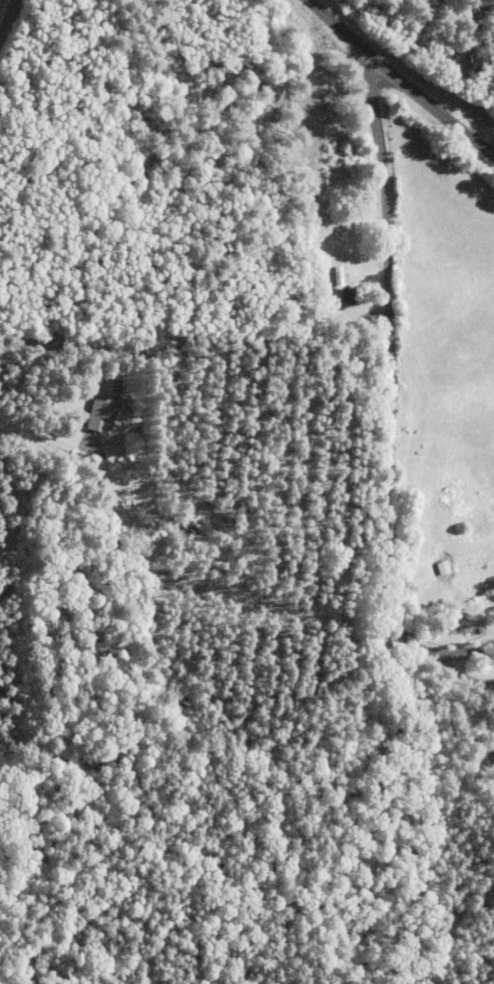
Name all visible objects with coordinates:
road: (393, 85)
building: (323, 276)
road: (392, 399)
building: (85, 406)
building: (170, 524)

